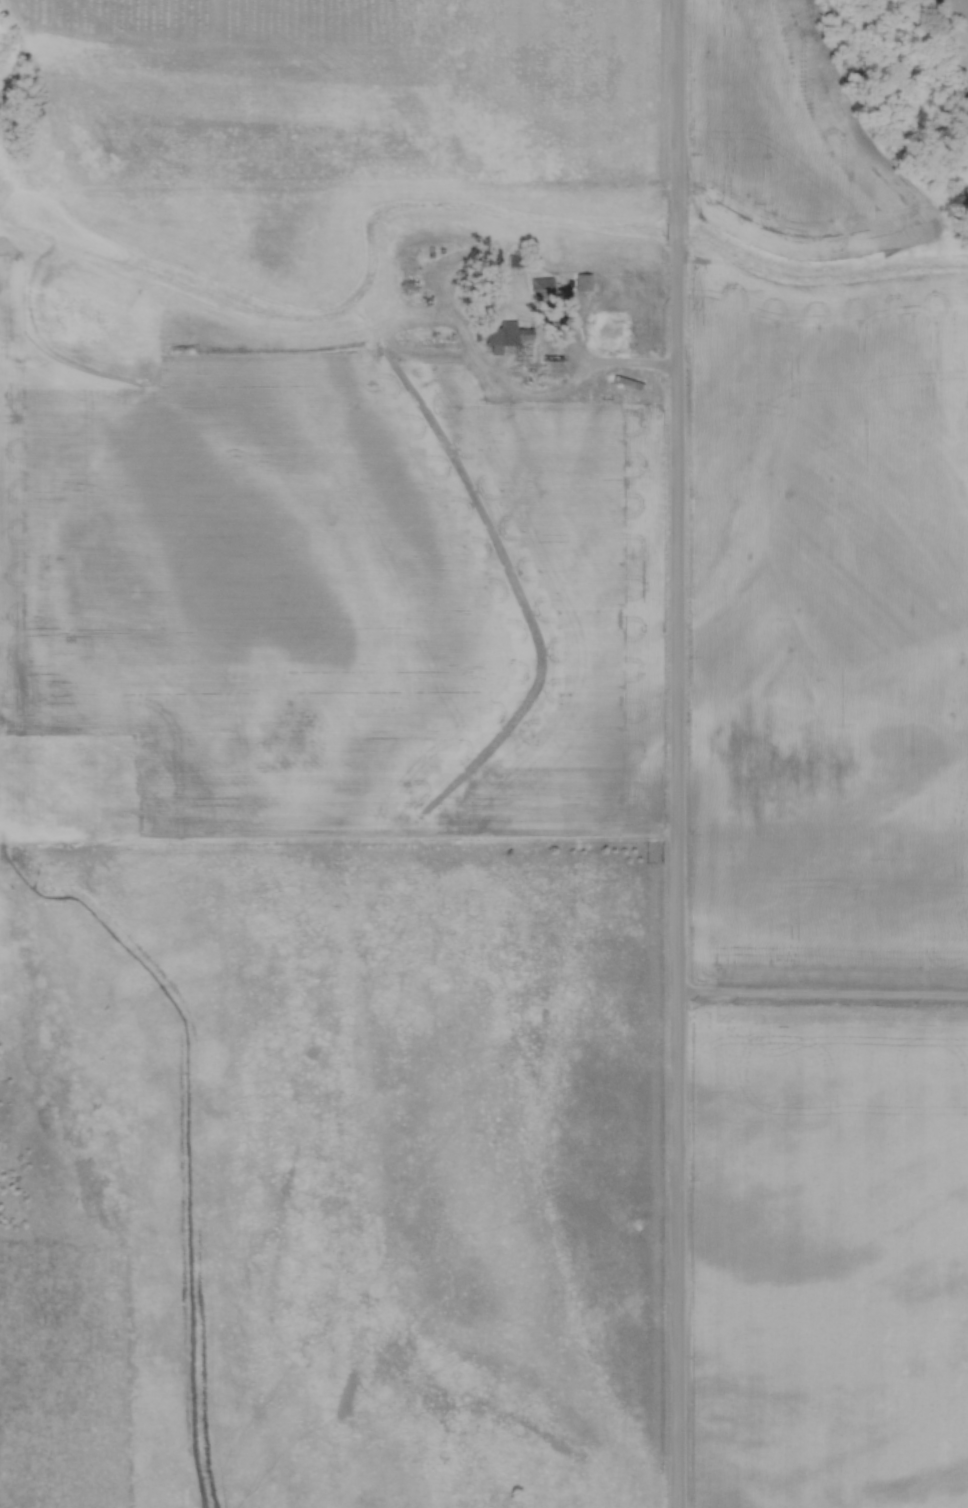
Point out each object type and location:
road: (679, 111)
road: (678, 232)
building: (585, 283)
building: (542, 292)
building: (610, 331)
building: (499, 340)
road: (601, 367)
road: (674, 874)
road: (821, 996)

